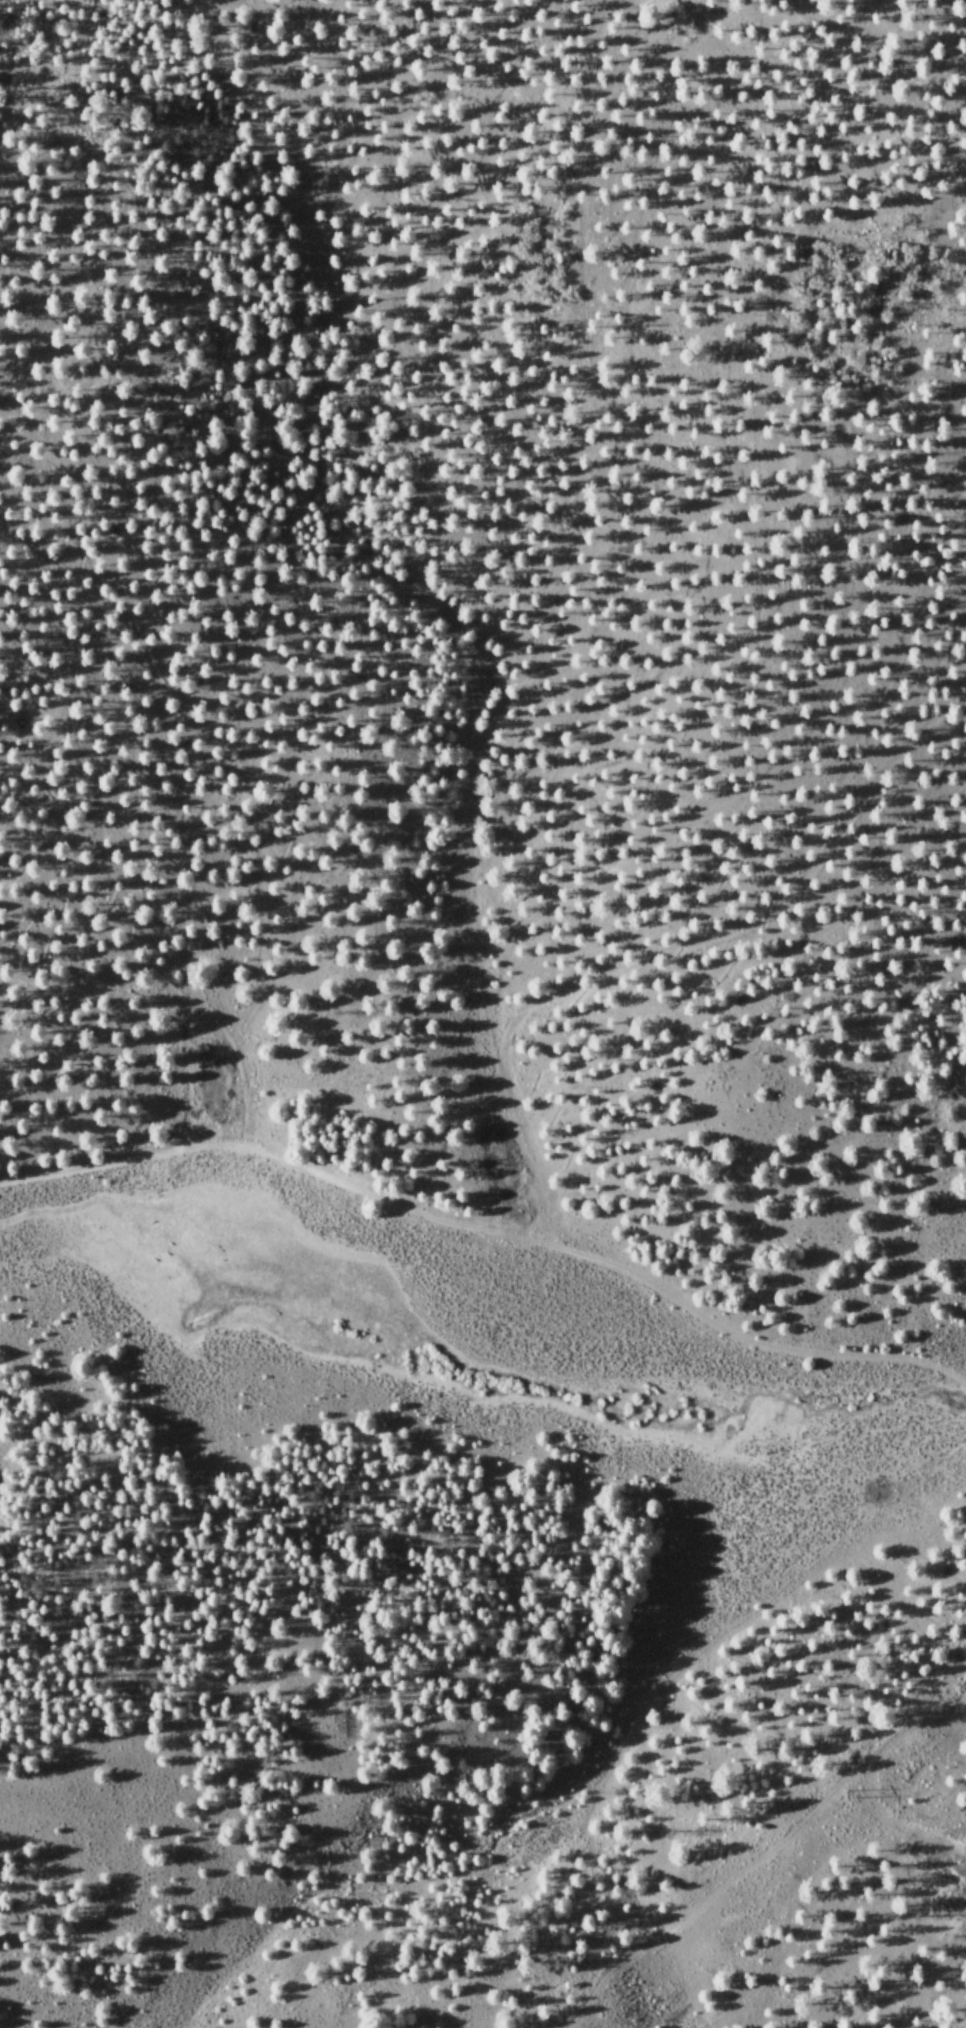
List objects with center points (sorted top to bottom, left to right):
road: (481, 1546)
power tower: (856, 1803)

